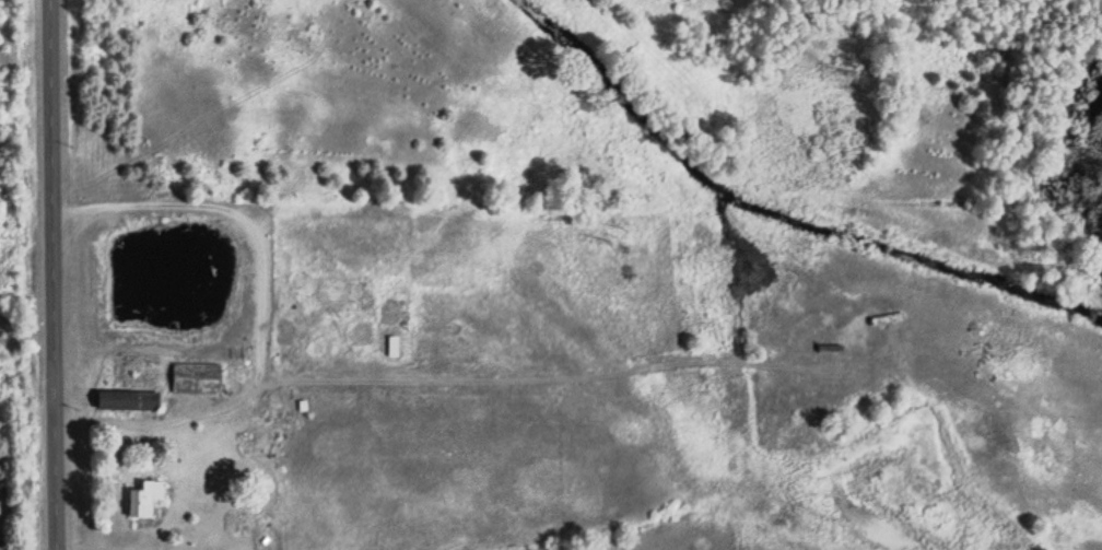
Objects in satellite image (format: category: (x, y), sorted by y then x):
road: (51, 274)
building: (198, 379)
building: (129, 401)
building: (145, 500)

